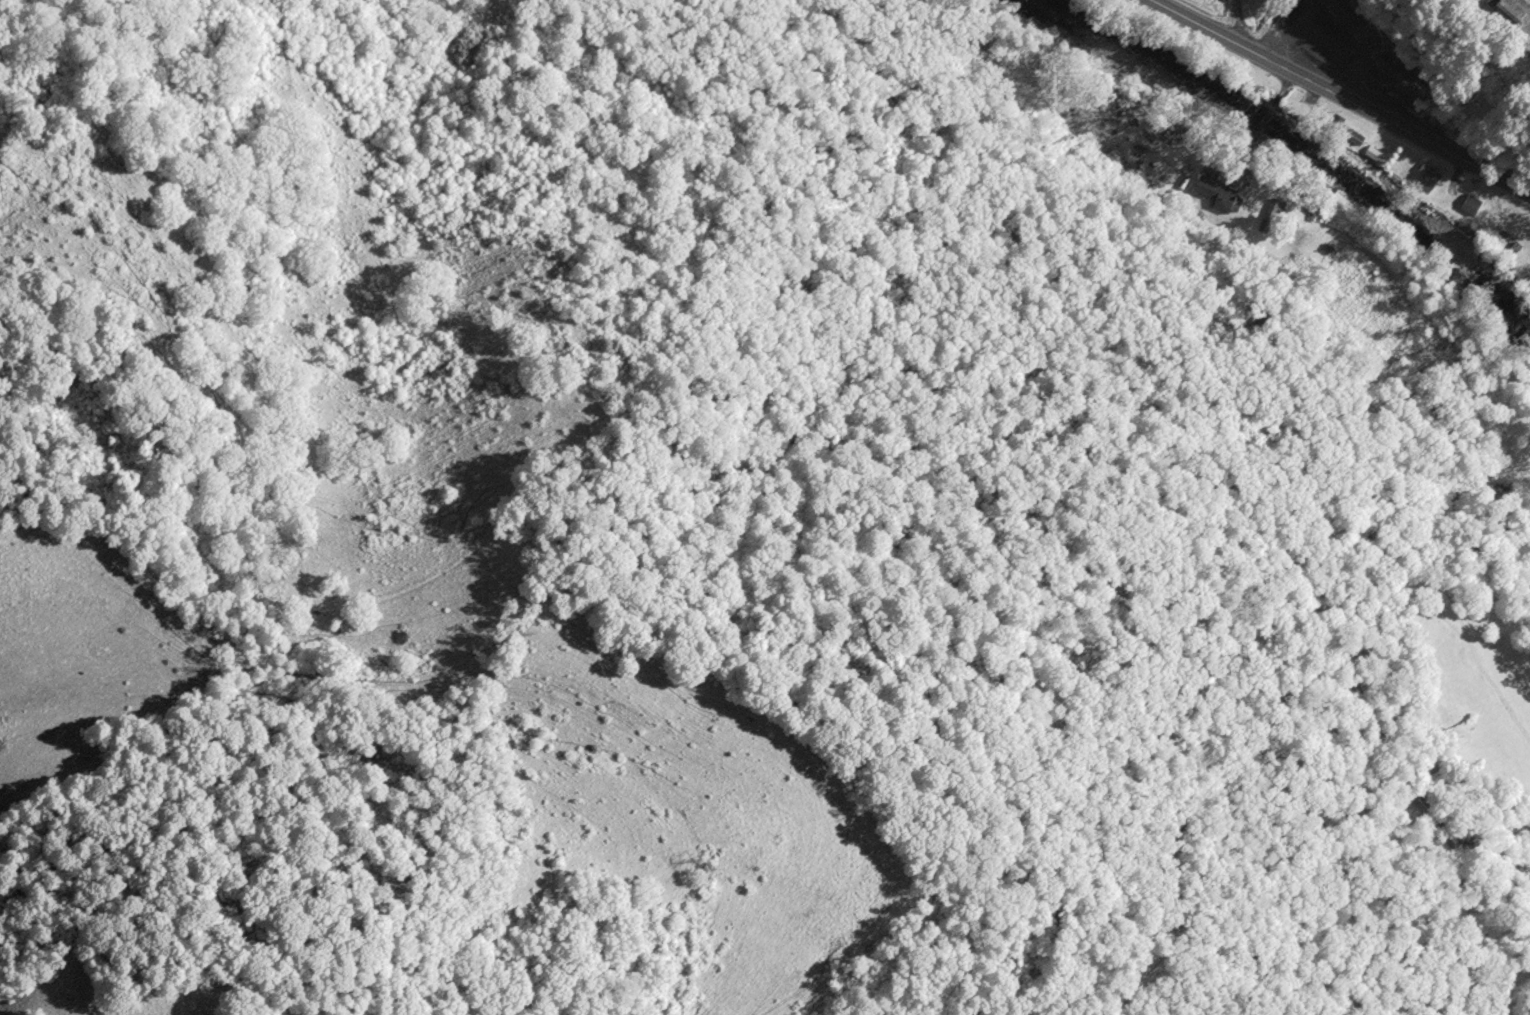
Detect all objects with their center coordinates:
crop: (1473, 2)
building: (1503, 8)
building: (1344, 13)
road: (1238, 23)
road: (1488, 24)
building: (1397, 82)
road: (1339, 98)
building: (1340, 129)
river: (1292, 149)
building: (1373, 153)
building: (1427, 178)
building: (1219, 196)
building: (1470, 205)
building: (1269, 215)

